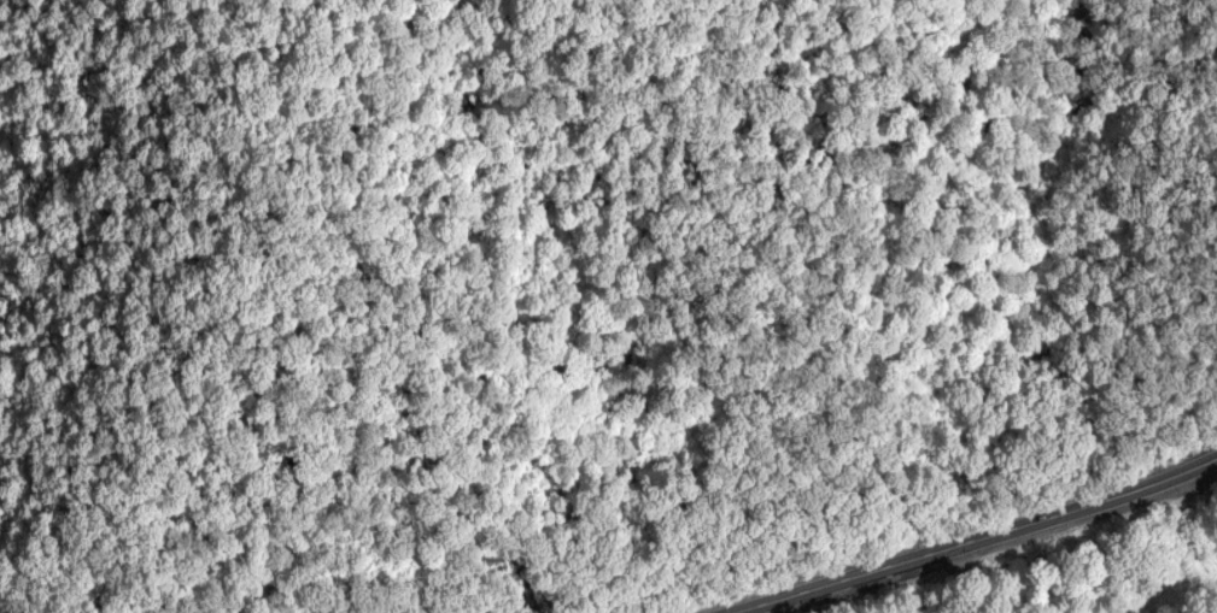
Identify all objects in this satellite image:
road: (983, 541)

